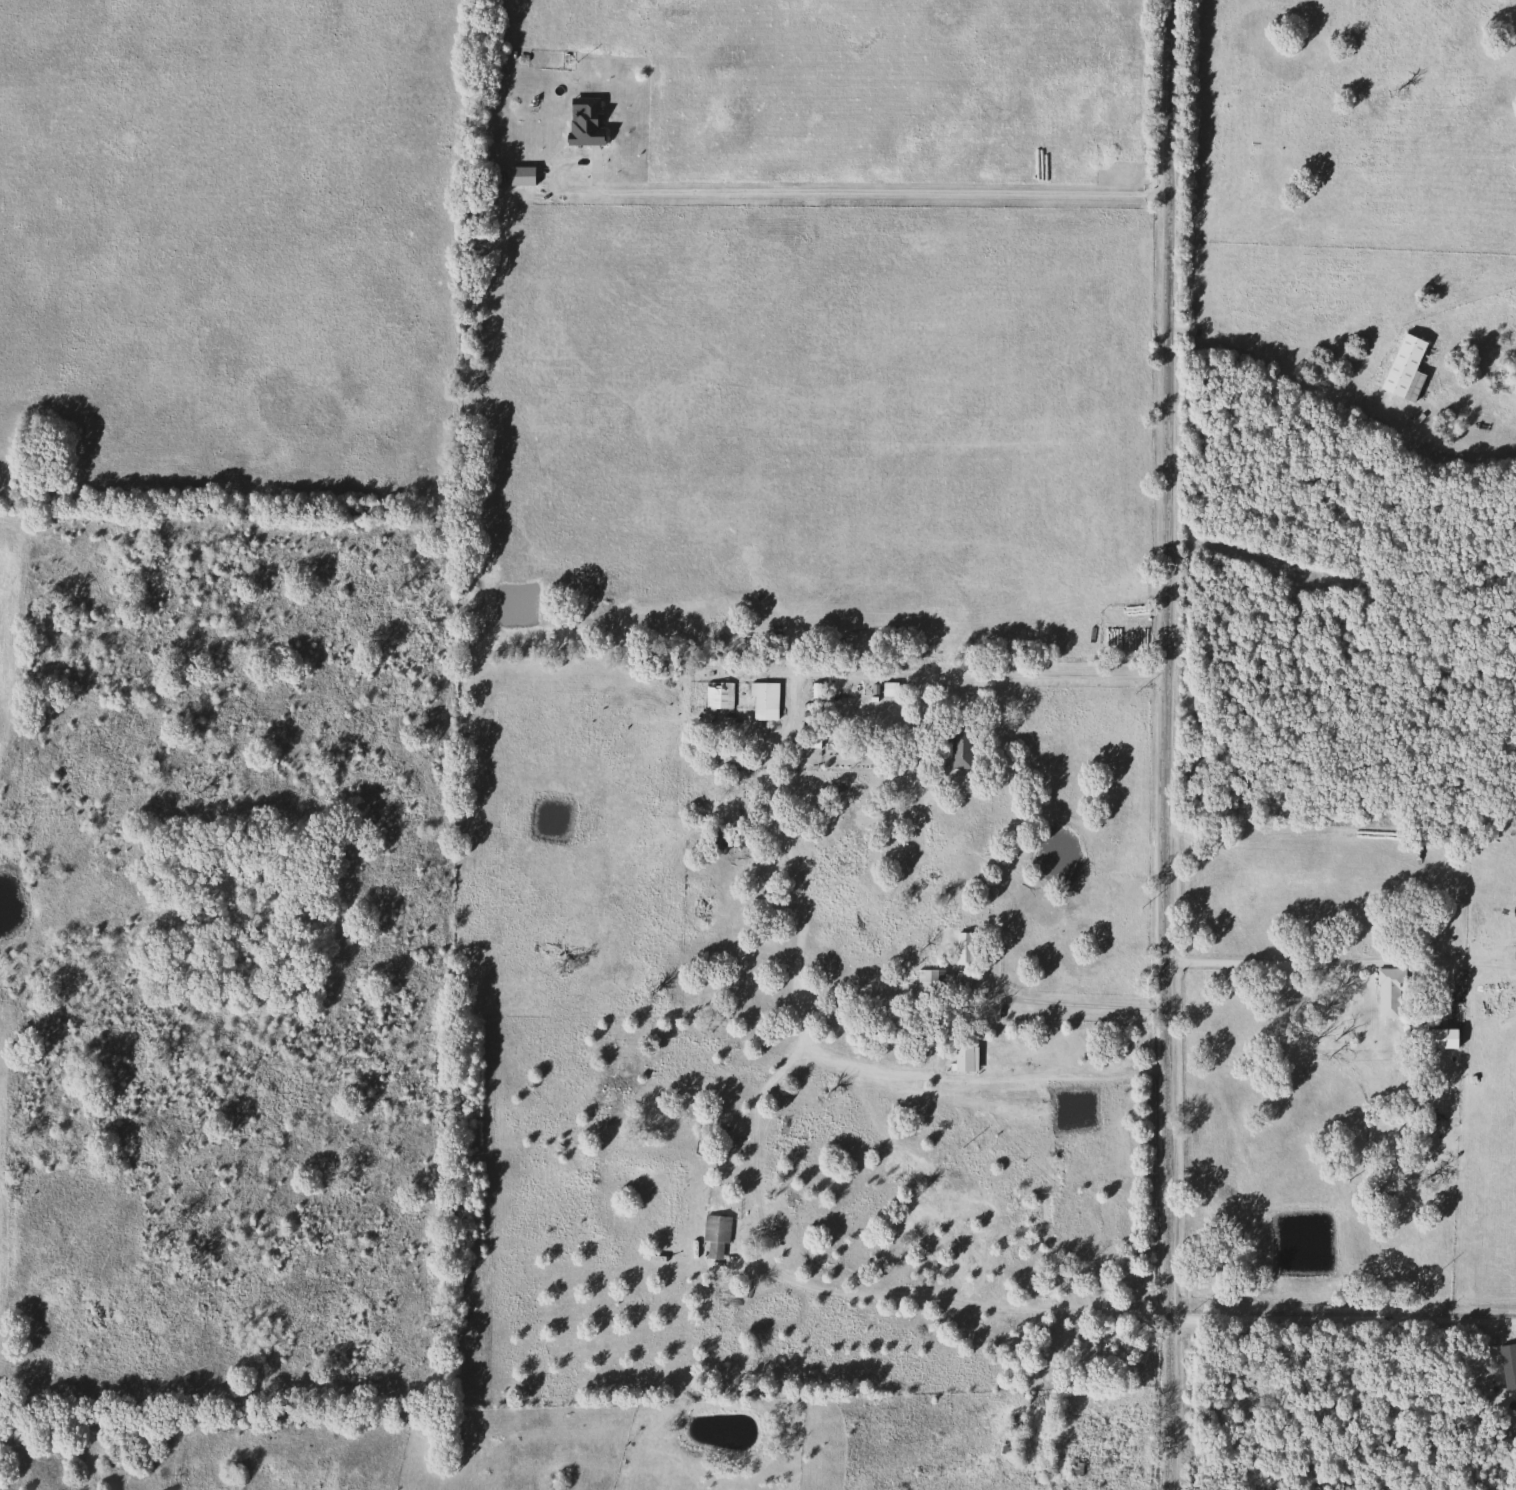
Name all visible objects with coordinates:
road: (817, 194)
building: (1402, 367)
road: (989, 673)
building: (717, 695)
building: (763, 700)
building: (856, 700)
road: (1166, 745)
building: (959, 748)
building: (961, 947)
road: (1286, 962)
building: (928, 981)
road: (1072, 993)
building: (1389, 993)
building: (717, 1133)
building: (1043, 1209)
building: (714, 1233)
road: (958, 1300)
road: (1341, 1321)
building: (1014, 1425)
building: (1074, 1476)

